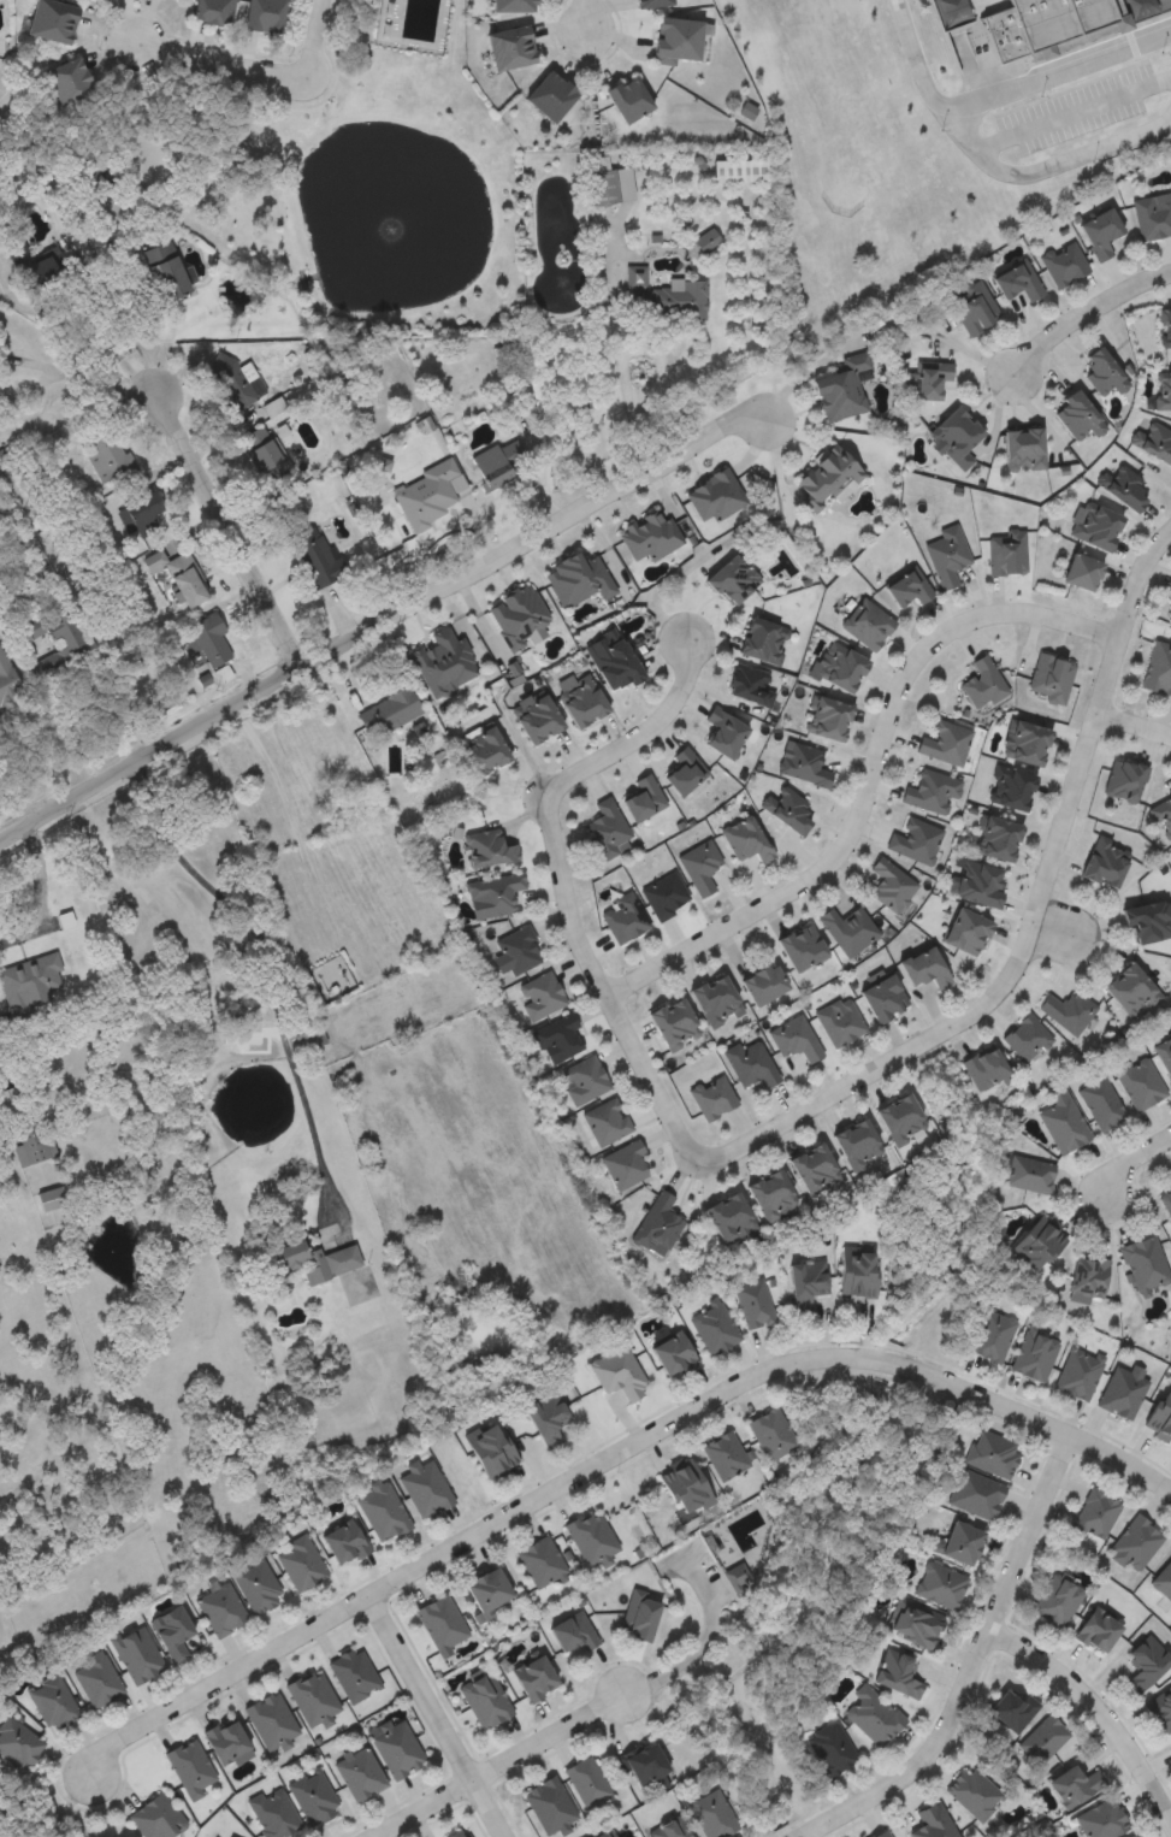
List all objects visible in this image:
building: (649, 2)
building: (510, 6)
building: (214, 11)
building: (266, 14)
road: (582, 17)
building: (54, 19)
building: (1046, 23)
road: (311, 39)
building: (675, 40)
building: (509, 47)
road: (911, 57)
road: (219, 63)
road: (1053, 73)
building: (71, 79)
building: (550, 95)
building: (627, 99)
road: (1069, 114)
road: (1046, 173)
building: (609, 182)
building: (1152, 217)
building: (1098, 232)
building: (708, 241)
building: (1064, 264)
building: (35, 266)
building: (170, 279)
building: (1016, 280)
building: (663, 297)
building: (972, 307)
road: (1083, 314)
road: (118, 315)
building: (1165, 327)
road: (93, 345)
road: (621, 366)
building: (1100, 372)
building: (929, 378)
building: (233, 382)
building: (840, 389)
building: (1163, 390)
building: (1076, 415)
building: (953, 437)
building: (1154, 443)
building: (1021, 449)
building: (107, 454)
building: (265, 454)
building: (498, 462)
building: (823, 474)
building: (1125, 489)
building: (424, 495)
building: (138, 514)
building: (1093, 526)
road: (225, 533)
building: (1006, 553)
building: (315, 556)
building: (947, 556)
building: (1078, 572)
building: (578, 579)
building: (732, 579)
road: (449, 584)
building: (189, 586)
building: (906, 587)
building: (1169, 610)
building: (518, 615)
building: (867, 625)
building: (209, 639)
building: (761, 642)
building: (75, 646)
building: (613, 660)
building: (444, 661)
building: (841, 669)
building: (1158, 669)
building: (1049, 679)
building: (981, 684)
building: (749, 685)
road: (83, 697)
building: (582, 701)
building: (389, 711)
building: (536, 716)
building: (826, 719)
road: (1134, 726)
building: (722, 731)
building: (944, 743)
building: (1025, 743)
building: (484, 750)
building: (805, 764)
building: (684, 772)
building: (1123, 780)
road: (870, 782)
building: (1009, 788)
building: (929, 792)
building: (641, 798)
building: (786, 809)
road: (286, 810)
building: (1163, 815)
building: (608, 831)
building: (996, 839)
building: (745, 840)
building: (913, 840)
building: (490, 847)
building: (1104, 861)
building: (699, 867)
building: (977, 884)
building: (889, 885)
road: (563, 887)
road: (40, 894)
building: (493, 896)
building: (664, 896)
building: (623, 918)
building: (1147, 921)
road: (1033, 923)
road: (1047, 926)
building: (847, 931)
building: (964, 933)
building: (798, 947)
building: (516, 952)
road: (274, 964)
building: (922, 969)
building: (30, 977)
building: (759, 984)
building: (1129, 992)
building: (539, 997)
building: (881, 999)
building: (712, 1002)
building: (1067, 1011)
building: (839, 1022)
building: (673, 1024)
building: (557, 1039)
building: (794, 1039)
building: (1025, 1039)
building: (1164, 1055)
building: (750, 1064)
building: (983, 1070)
building: (581, 1081)
building: (1137, 1082)
building: (711, 1097)
building: (11, 1103)
building: (1100, 1104)
building: (898, 1120)
building: (605, 1122)
building: (1061, 1126)
building: (31, 1140)
building: (854, 1144)
road: (1132, 1164)
building: (623, 1165)
building: (810, 1166)
building: (1027, 1175)
building: (769, 1197)
building: (52, 1198)
building: (728, 1221)
building: (656, 1224)
building: (1034, 1242)
building: (317, 1259)
building: (1143, 1264)
building: (853, 1275)
building: (1086, 1277)
building: (803, 1283)
building: (751, 1303)
building: (714, 1327)
building: (989, 1337)
building: (674, 1353)
building: (1031, 1357)
building: (617, 1372)
building: (1077, 1374)
building: (1120, 1394)
building: (1160, 1416)
building: (546, 1417)
building: (771, 1433)
building: (491, 1449)
building: (992, 1454)
building: (725, 1455)
road: (608, 1460)
building: (425, 1487)
building: (686, 1490)
building: (975, 1494)
building: (383, 1511)
building: (1093, 1514)
building: (591, 1537)
building: (345, 1541)
building: (959, 1542)
building: (1134, 1543)
building: (300, 1563)
building: (540, 1563)
building: (1163, 1581)
building: (940, 1584)
building: (255, 1587)
building: (489, 1589)
building: (1055, 1600)
building: (220, 1609)
building: (640, 1616)
building: (440, 1623)
building: (916, 1624)
building: (1096, 1630)
building: (172, 1631)
building: (574, 1632)
building: (136, 1654)
road: (684, 1658)
building: (1145, 1662)
road: (971, 1665)
building: (898, 1673)
building: (353, 1674)
building: (536, 1678)
building: (95, 1681)
building: (312, 1697)
building: (485, 1701)
building: (52, 1703)
building: (1160, 1708)
building: (1012, 1711)
road: (1095, 1715)
building: (873, 1717)
road: (432, 1718)
building: (270, 1720)
road: (545, 1738)
building: (226, 1739)
building: (1042, 1739)
building: (18, 1743)
building: (1170, 1744)
building: (396, 1748)
building: (830, 1749)
building: (644, 1762)
building: (190, 1768)
building: (359, 1773)
building: (586, 1782)
building: (1074, 1785)
building: (972, 1792)
building: (313, 1796)
building: (549, 1804)
road: (424, 1811)
building: (273, 1813)
building: (712, 1815)
building: (156, 1818)
building: (1100, 1819)
building: (932, 1823)
building: (672, 1829)
building: (456, 1833)
building: (603, 1835)
building: (882, 1835)
building: (1131, 1836)
building: (1136, 1836)

